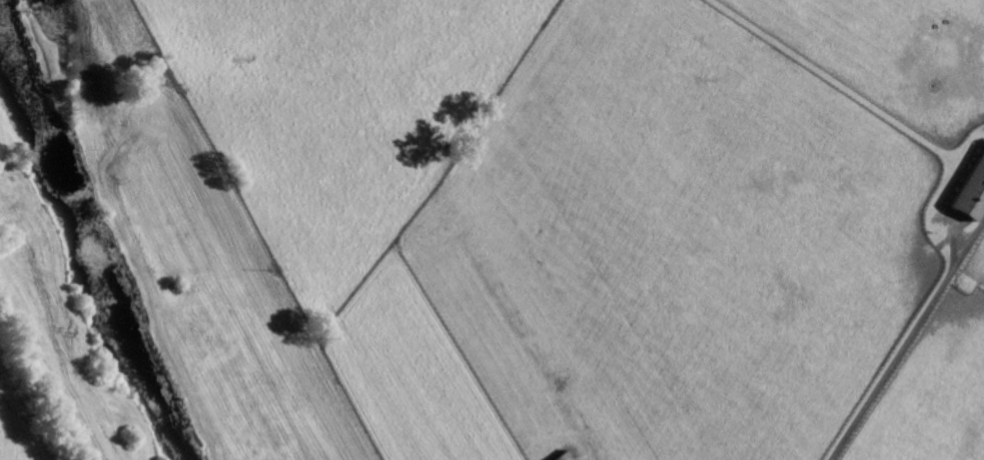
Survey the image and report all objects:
building: (973, 194)
road: (907, 340)

